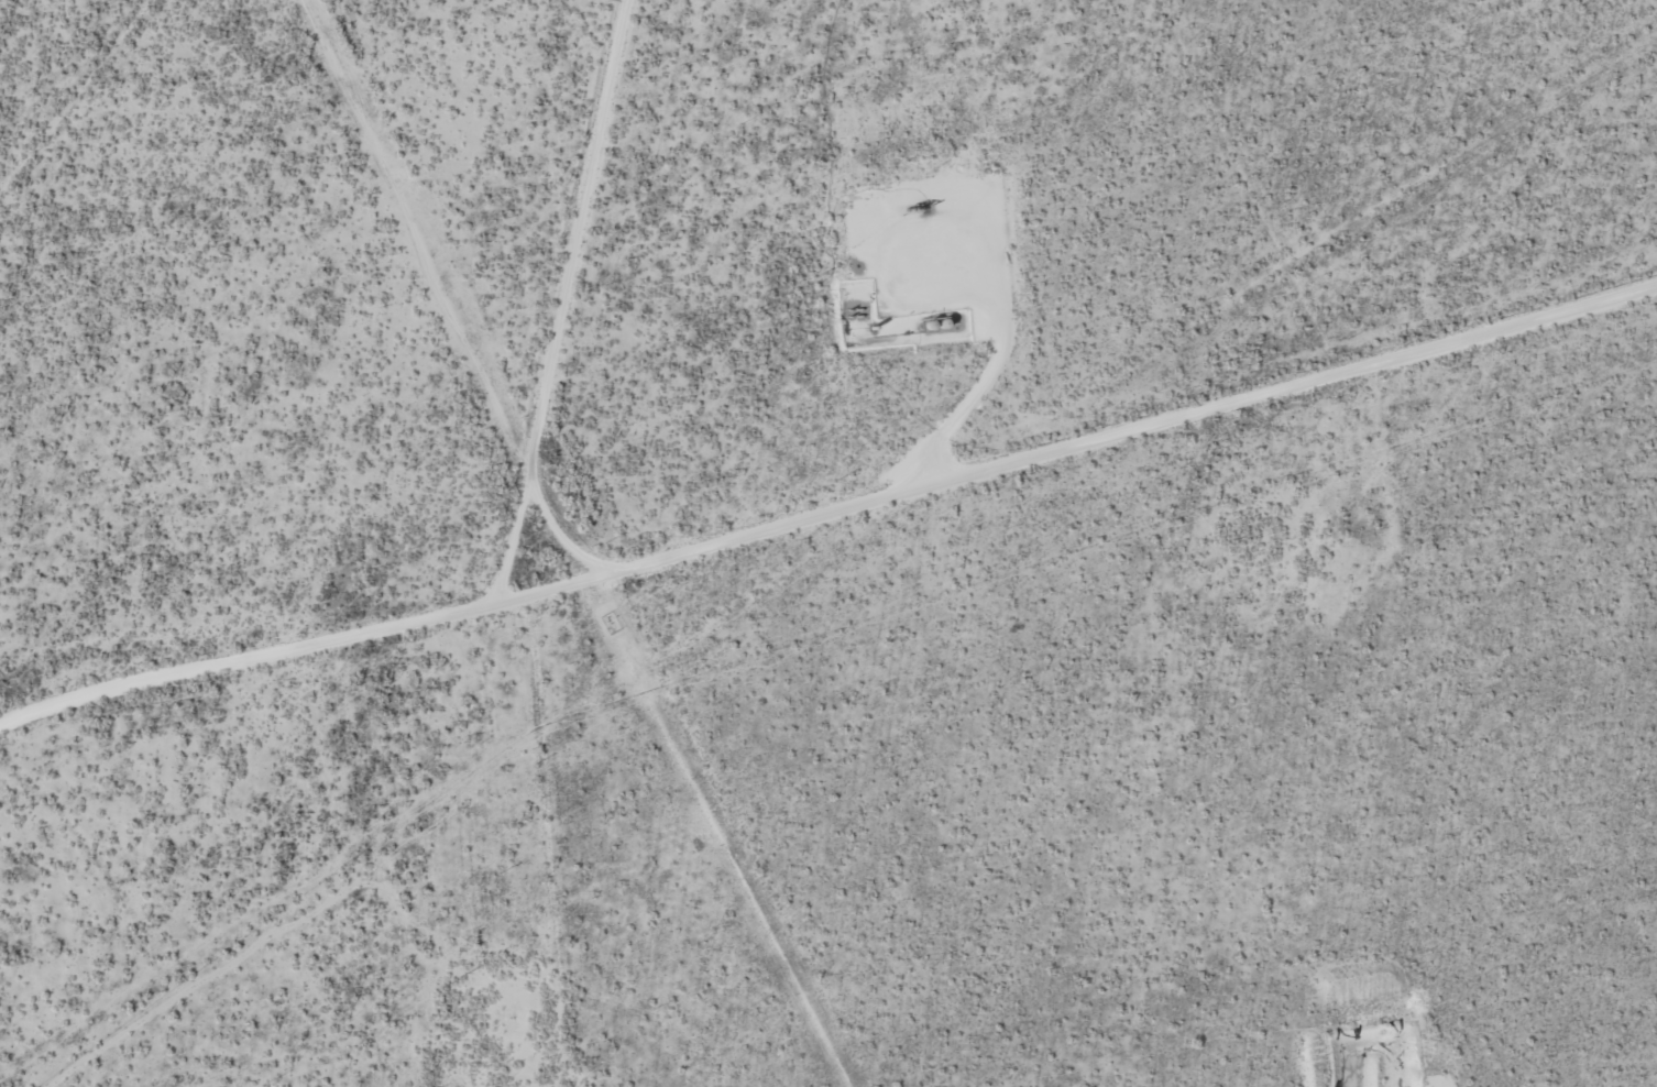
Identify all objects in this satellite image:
road: (844, 250)
road: (563, 297)
road: (830, 512)

